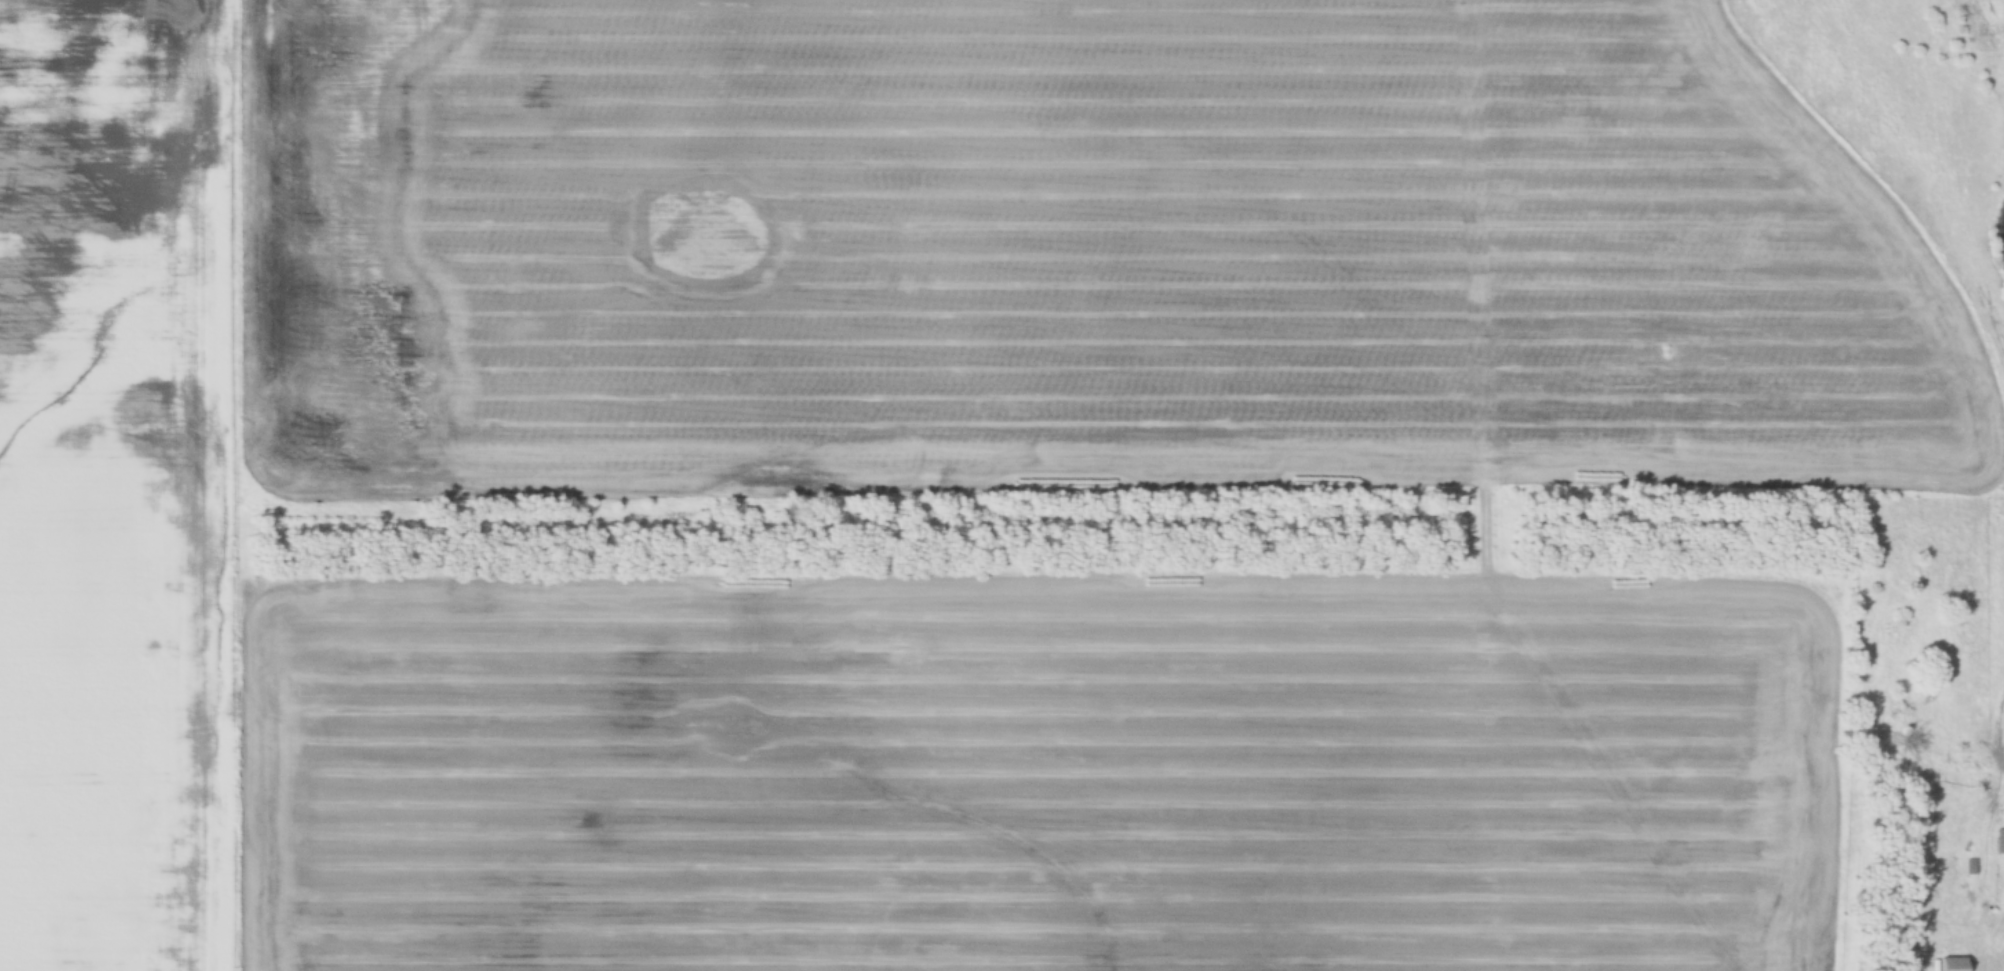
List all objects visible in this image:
building: (1966, 761)
building: (2000, 841)
building: (1953, 963)

